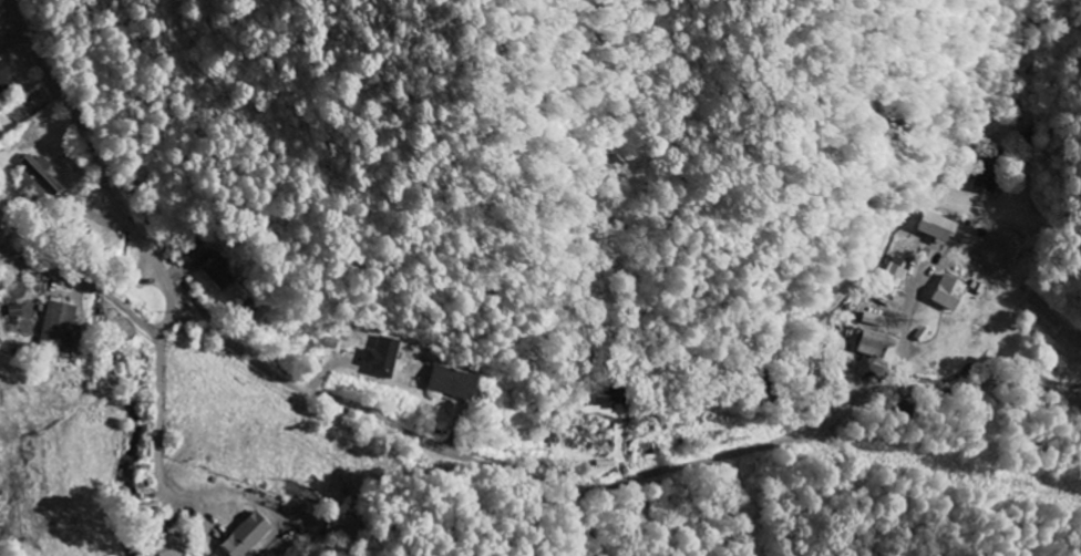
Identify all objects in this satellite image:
building: (3, 75)
building: (987, 175)
building: (38, 178)
building: (938, 226)
building: (224, 269)
road: (21, 271)
building: (896, 277)
road: (855, 279)
building: (947, 291)
road: (127, 309)
building: (874, 318)
building: (58, 321)
road: (905, 339)
building: (873, 343)
building: (387, 357)
road: (62, 361)
building: (455, 381)
building: (611, 395)
road: (451, 449)
building: (161, 525)
road: (593, 525)
building: (244, 535)
building: (166, 545)
road: (0, 553)

